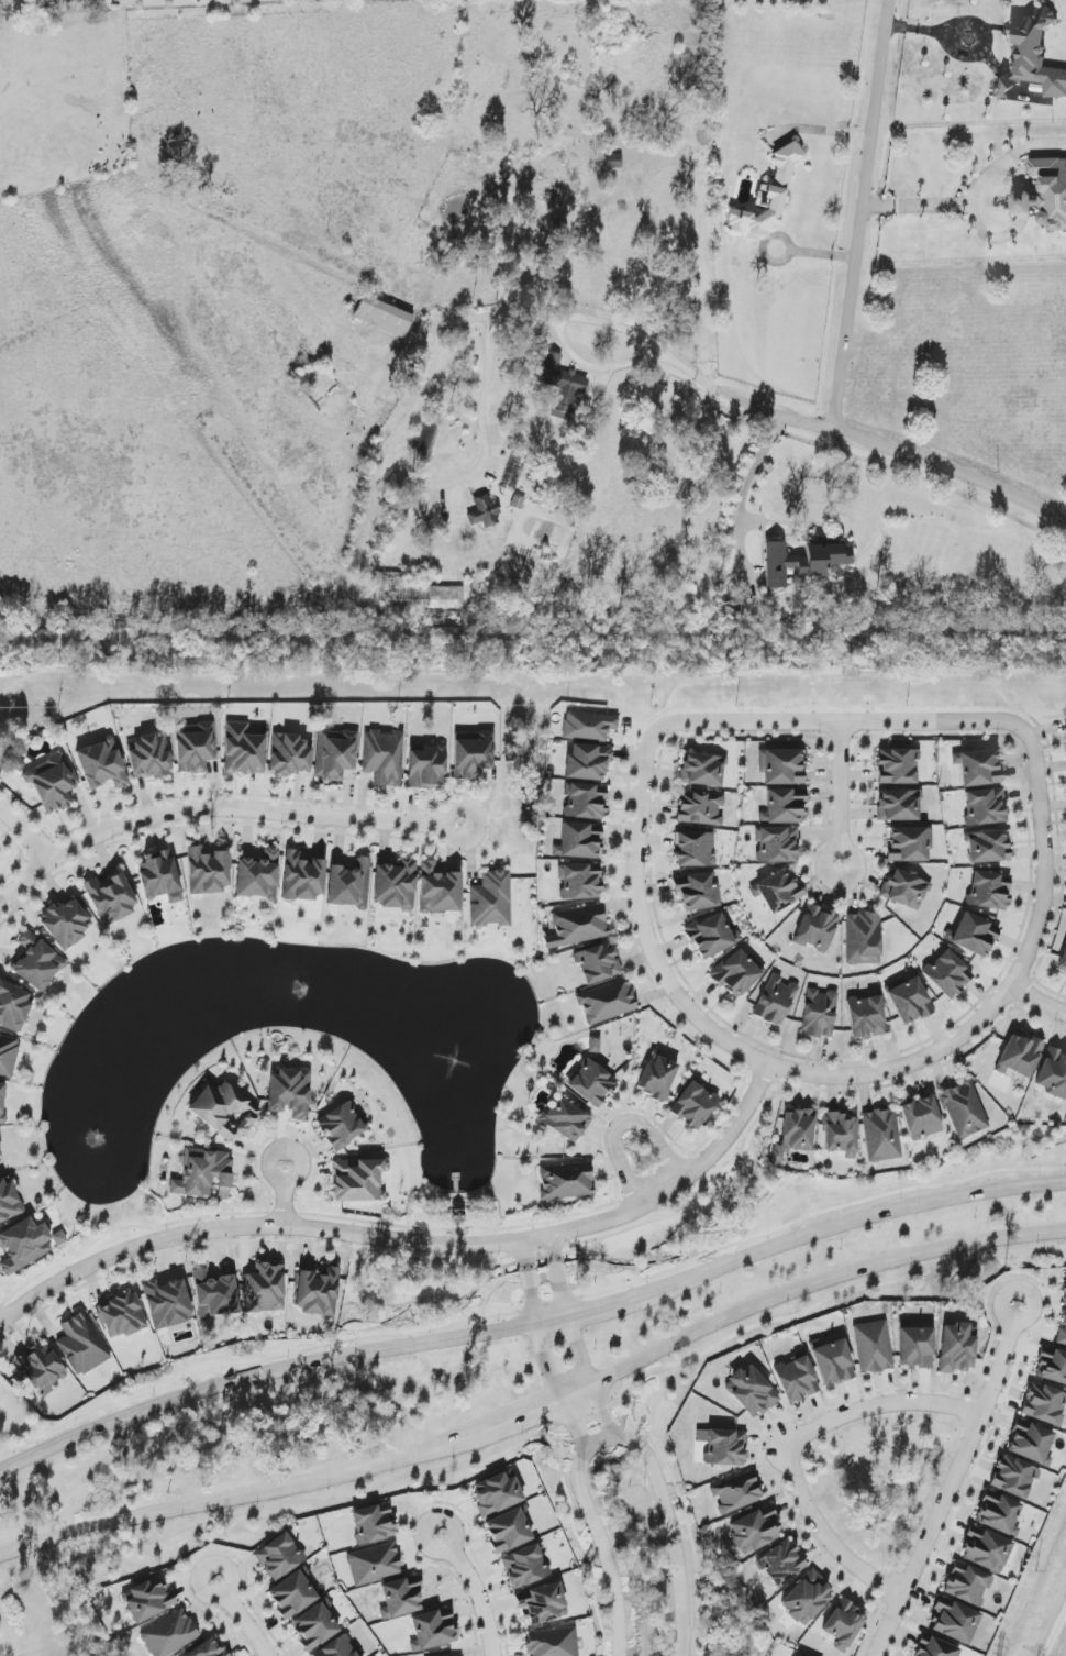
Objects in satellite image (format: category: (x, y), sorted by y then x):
road: (974, 21)
building: (1033, 57)
building: (1025, 91)
road: (823, 130)
building: (613, 161)
building: (1052, 190)
building: (768, 196)
building: (1023, 202)
road: (929, 207)
road: (863, 214)
road: (786, 258)
building: (382, 317)
road: (598, 367)
building: (562, 385)
road: (414, 404)
road: (748, 404)
road: (753, 468)
road: (953, 468)
building: (512, 474)
building: (484, 512)
building: (803, 562)
building: (436, 597)
road: (529, 674)
road: (520, 692)
road: (669, 695)
road: (657, 715)
road: (919, 720)
building: (588, 726)
road: (636, 727)
road: (1046, 729)
building: (195, 747)
building: (243, 750)
building: (334, 754)
building: (473, 754)
building: (290, 755)
building: (149, 757)
building: (382, 757)
building: (587, 762)
building: (101, 764)
building: (426, 766)
building: (781, 766)
building: (897, 766)
building: (978, 766)
building: (702, 770)
road: (511, 779)
building: (52, 782)
road: (839, 793)
building: (585, 801)
building: (898, 806)
building: (784, 807)
building: (985, 807)
road: (249, 808)
building: (700, 808)
road: (34, 820)
road: (26, 832)
building: (579, 841)
building: (909, 843)
building: (777, 844)
building: (987, 847)
building: (693, 849)
building: (0, 860)
building: (207, 872)
building: (159, 876)
building: (258, 876)
building: (301, 877)
road: (25, 882)
building: (580, 882)
building: (348, 885)
building: (395, 885)
building: (438, 890)
building: (904, 890)
building: (989, 891)
building: (697, 892)
building: (778, 892)
building: (110, 897)
building: (491, 901)
building: (66, 924)
building: (579, 925)
building: (817, 928)
building: (973, 935)
building: (710, 936)
building: (863, 938)
building: (1063, 961)
building: (36, 962)
building: (597, 963)
building: (735, 973)
building: (947, 974)
fountain: (298, 992)
building: (909, 1000)
building: (776, 1001)
road: (1039, 1001)
building: (607, 1002)
building: (13, 1006)
building: (820, 1013)
building: (866, 1017)
building: (593, 1045)
building: (8, 1055)
fountain: (448, 1055)
building: (1019, 1056)
building: (1053, 1073)
building: (656, 1078)
building: (590, 1083)
building: (289, 1093)
building: (2, 1102)
building: (693, 1105)
building: (964, 1109)
building: (224, 1111)
building: (921, 1118)
building: (565, 1119)
road: (618, 1125)
building: (341, 1126)
fountain: (107, 1130)
building: (795, 1133)
building: (841, 1134)
building: (881, 1136)
building: (0, 1157)
building: (203, 1173)
building: (358, 1180)
building: (565, 1181)
road: (287, 1193)
building: (8, 1201)
road: (859, 1217)
building: (58, 1238)
road: (409, 1241)
building: (23, 1245)
road: (558, 1274)
road: (819, 1281)
road: (529, 1282)
building: (264, 1289)
building: (1065, 1291)
building: (317, 1292)
building: (214, 1294)
building: (167, 1303)
road: (599, 1304)
building: (121, 1316)
building: (1062, 1332)
building: (81, 1345)
building: (873, 1347)
building: (915, 1348)
building: (957, 1348)
road: (578, 1350)
building: (832, 1361)
road: (547, 1362)
building: (1052, 1366)
building: (38, 1368)
road: (259, 1373)
building: (796, 1379)
building: (751, 1391)
building: (1044, 1404)
road: (602, 1412)
road: (533, 1413)
road: (575, 1425)
road: (536, 1432)
road: (613, 1437)
building: (1031, 1443)
road: (791, 1445)
building: (723, 1447)
building: (1013, 1477)
road: (952, 1482)
building: (496, 1493)
building: (736, 1493)
road: (919, 1495)
road: (237, 1499)
building: (998, 1513)
building: (373, 1524)
building: (508, 1530)
building: (754, 1530)
building: (986, 1549)
building: (278, 1557)
building: (374, 1564)
building: (781, 1564)
building: (524, 1566)
building: (967, 1585)
road: (476, 1589)
building: (292, 1594)
building: (400, 1598)
building: (148, 1599)
building: (807, 1599)
building: (541, 1603)
road: (243, 1618)
building: (954, 1621)
power tower: (1039, 1622)
building: (844, 1624)
building: (315, 1625)
road: (1053, 1627)
building: (433, 1630)
road: (1056, 1630)
building: (169, 1634)
building: (552, 1642)
building: (208, 1648)
building: (337, 1648)
building: (936, 1648)

